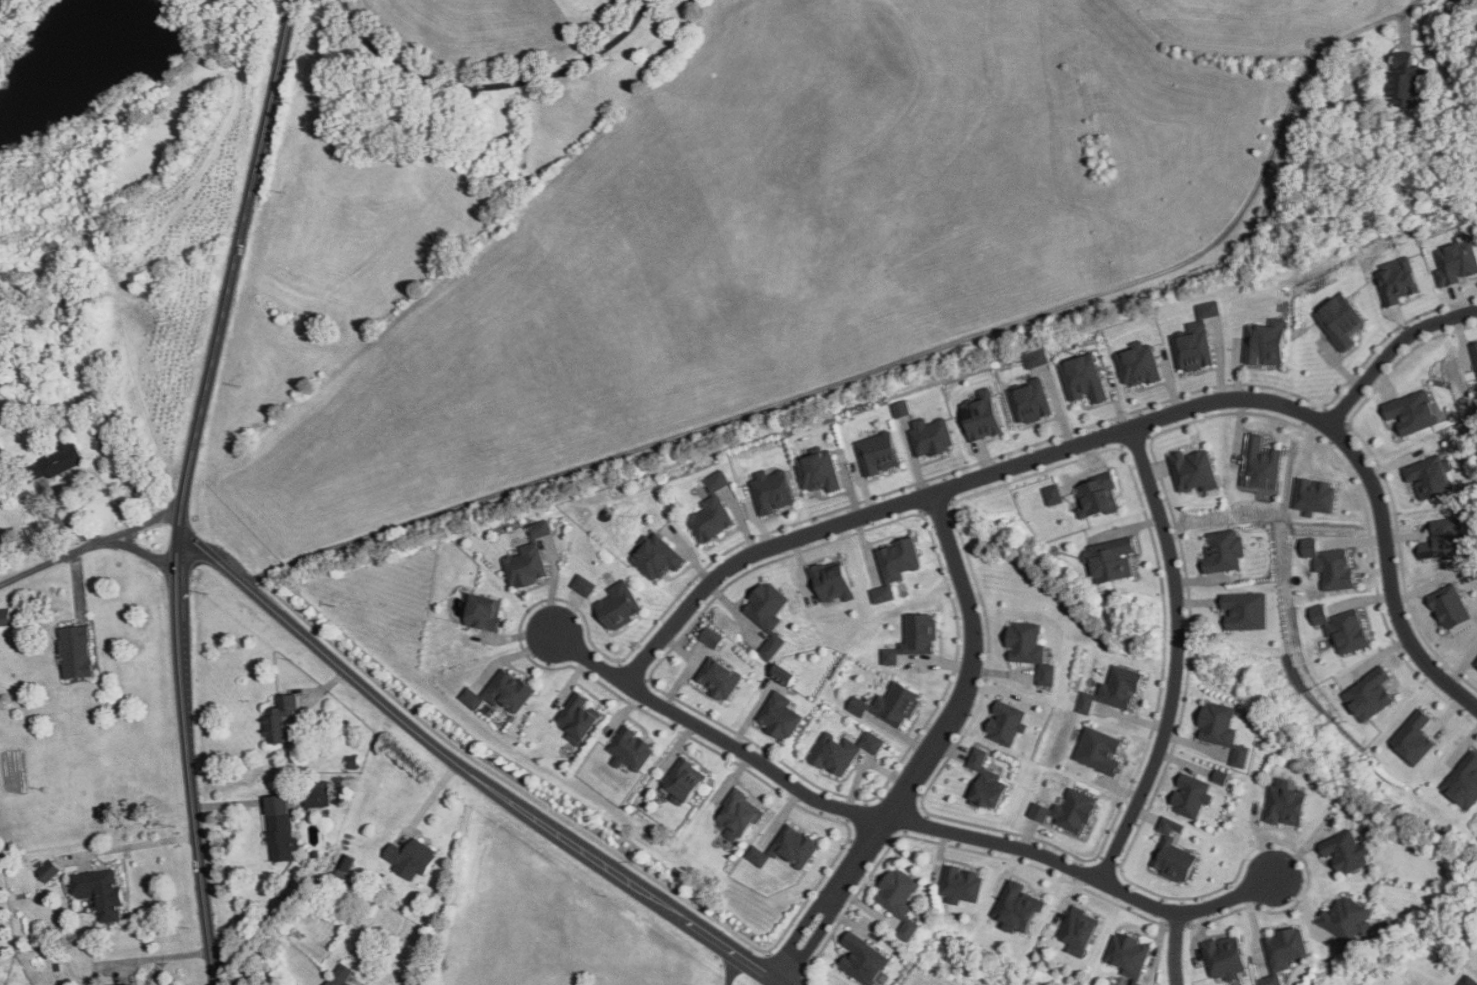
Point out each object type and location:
building: (1407, 80)
road: (493, 85)
building: (1456, 260)
building: (1397, 280)
building: (1340, 320)
building: (1195, 339)
building: (1266, 343)
road: (1389, 348)
building: (1474, 351)
building: (1035, 358)
building: (1138, 363)
road: (880, 365)
building: (1082, 378)
building: (1030, 401)
building: (1411, 411)
building: (981, 415)
building: (923, 431)
road: (1112, 436)
building: (877, 453)
building: (56, 462)
building: (1262, 463)
building: (818, 470)
building: (1194, 470)
building: (1431, 476)
road: (185, 487)
building: (771, 490)
building: (1053, 494)
building: (1097, 495)
building: (1314, 496)
building: (711, 510)
building: (1445, 538)
road: (87, 548)
building: (1224, 550)
building: (657, 557)
building: (530, 559)
building: (1113, 559)
building: (1330, 564)
building: (896, 566)
building: (832, 580)
building: (585, 584)
building: (620, 605)
building: (1451, 606)
building: (1246, 610)
building: (485, 613)
building: (768, 615)
building: (6, 618)
building: (1342, 627)
building: (712, 636)
building: (914, 637)
building: (1031, 648)
building: (76, 652)
road: (1177, 658)
building: (1476, 663)
building: (784, 674)
building: (719, 677)
building: (1113, 689)
building: (502, 691)
building: (1370, 694)
building: (890, 705)
building: (781, 715)
building: (579, 718)
building: (281, 719)
building: (1007, 723)
building: (1224, 730)
building: (1414, 738)
building: (632, 749)
road: (930, 749)
building: (844, 750)
building: (1099, 750)
road: (471, 773)
building: (1222, 776)
building: (685, 778)
building: (986, 781)
building: (1464, 781)
building: (317, 795)
building: (1192, 795)
building: (1287, 805)
building: (1068, 810)
building: (741, 813)
road: (899, 818)
building: (280, 827)
building: (787, 848)
building: (1174, 851)
building: (1347, 851)
building: (412, 857)
building: (49, 871)
building: (962, 884)
building: (101, 892)
building: (901, 898)
building: (1019, 907)
building: (1349, 918)
building: (1080, 930)
road: (1176, 948)
building: (1285, 952)
road: (160, 953)
building: (1130, 956)
building: (1227, 957)
building: (864, 959)
road: (728, 966)
road: (152, 968)
building: (341, 975)
building: (1470, 981)
building: (129, 984)

